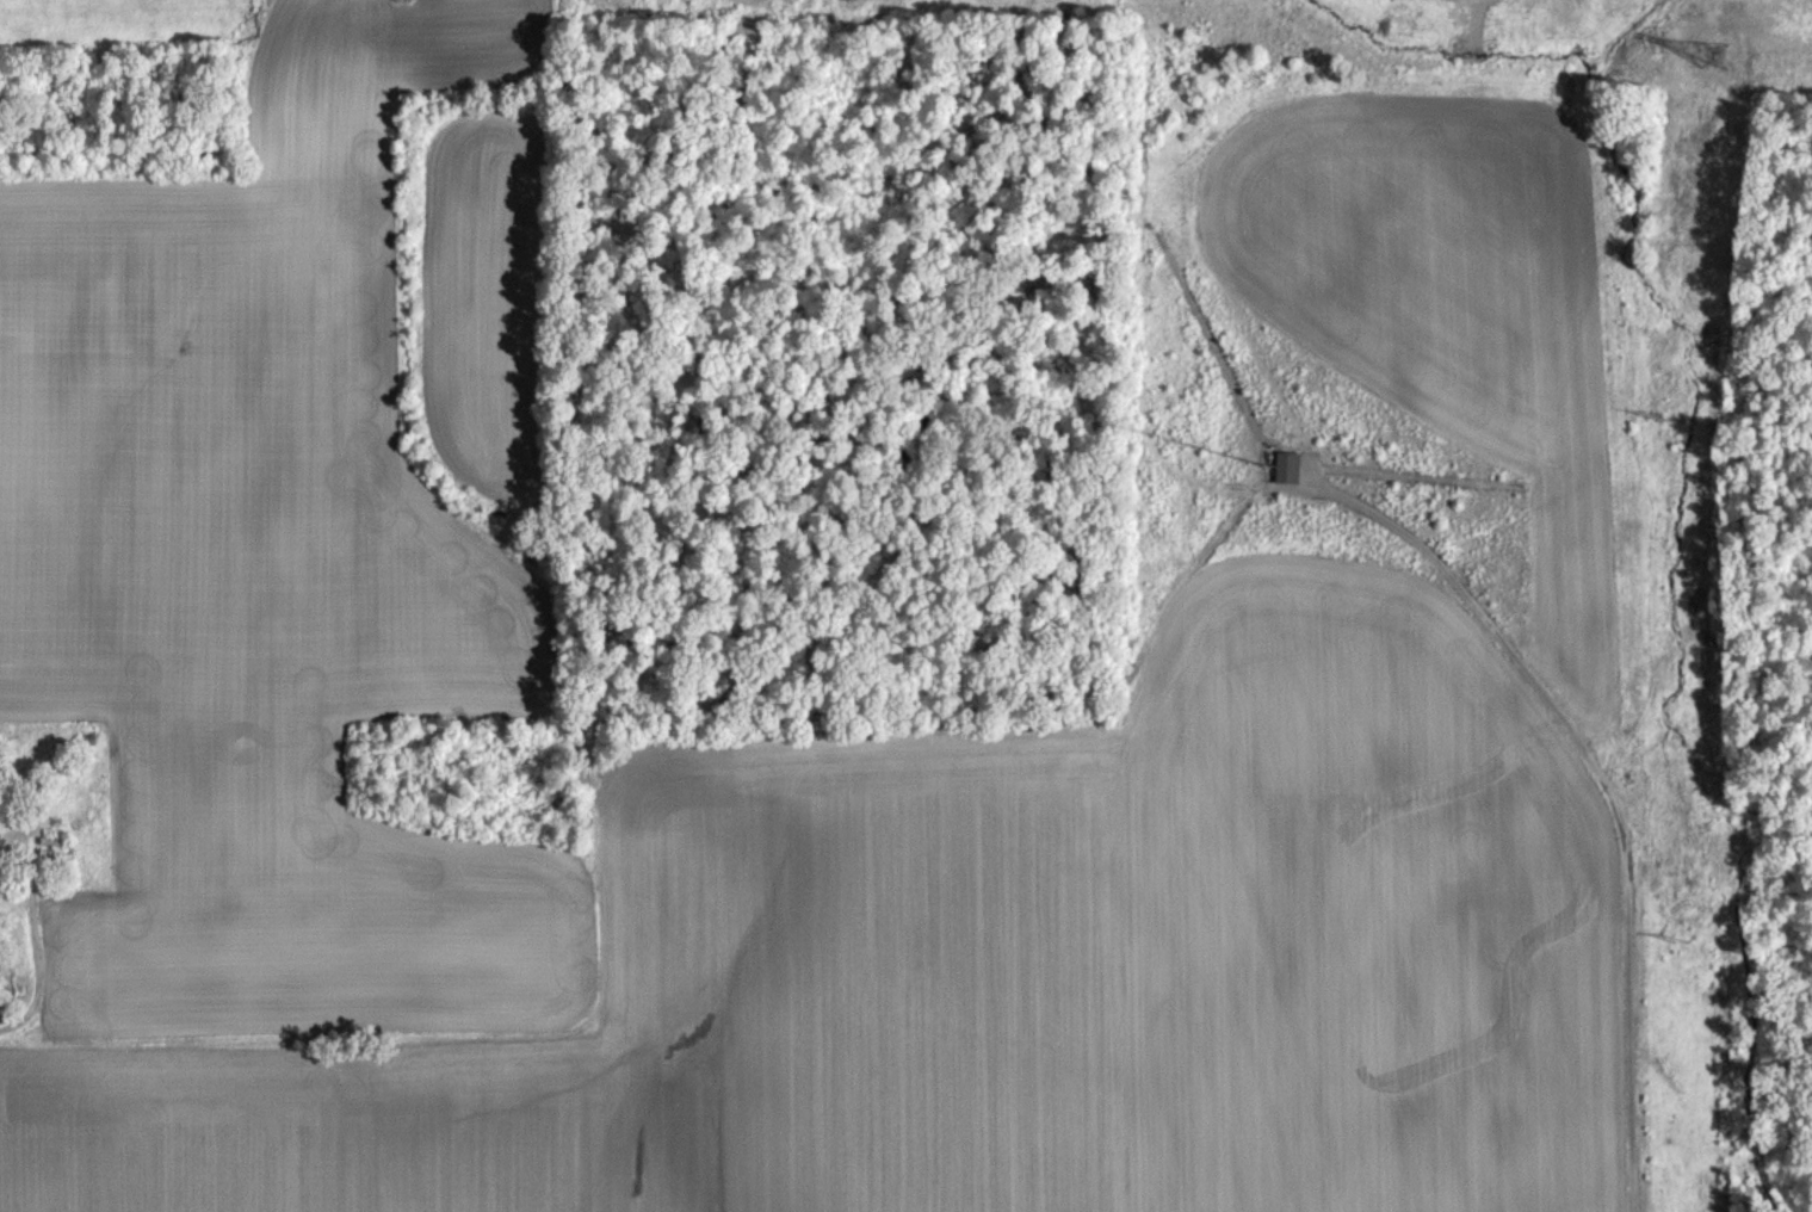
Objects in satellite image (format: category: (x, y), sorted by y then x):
power tower: (406, 2)
power tower: (1715, 57)
power tower: (1668, 418)
building: (1288, 481)
road: (1604, 792)
road: (36, 946)

